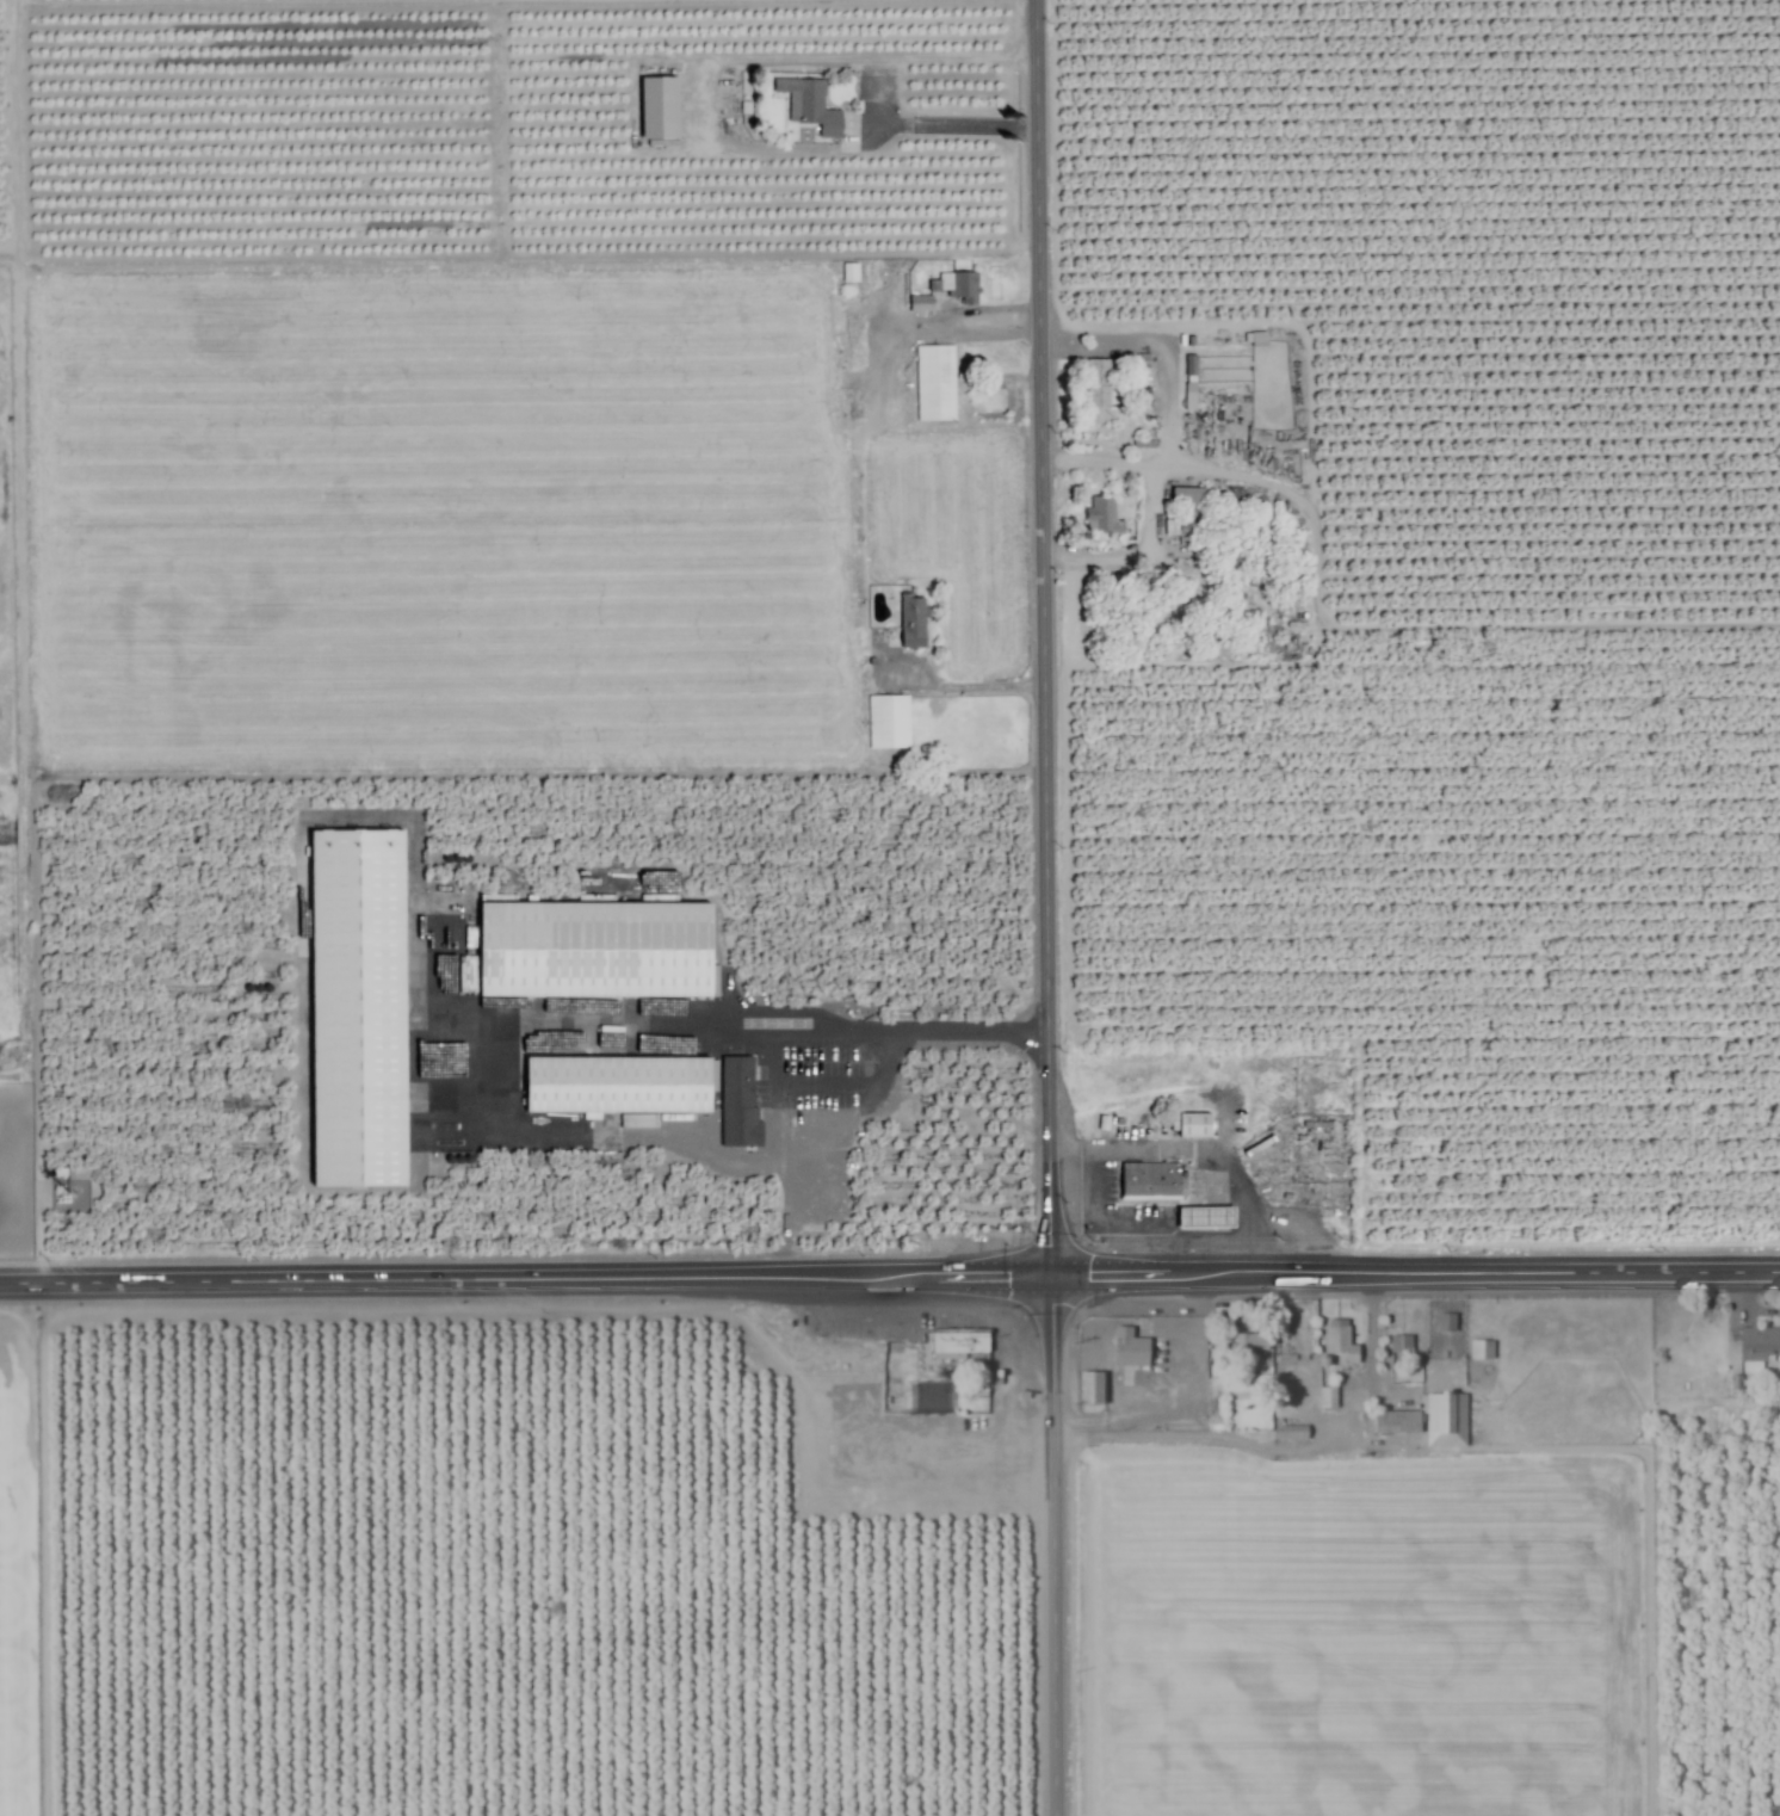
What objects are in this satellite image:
road: (754, 63)
road: (889, 94)
building: (809, 107)
road: (962, 128)
building: (957, 286)
building: (921, 305)
road: (942, 322)
building: (937, 383)
building: (1099, 383)
building: (1191, 394)
road: (1172, 402)
building: (1102, 517)
building: (1189, 517)
road: (1137, 552)
building: (909, 626)
road: (1419, 630)
road: (1042, 636)
road: (968, 686)
building: (890, 723)
building: (594, 952)
building: (361, 1012)
road: (761, 1036)
road: (824, 1086)
building: (649, 1092)
building: (1193, 1126)
road: (1205, 1151)
building: (1149, 1181)
road: (1095, 1219)
building: (1205, 1219)
road: (1217, 1242)
traffic signals: (1049, 1273)
road: (889, 1274)
building: (1445, 1322)
building: (1336, 1339)
building: (1250, 1344)
building: (1759, 1344)
building: (1127, 1348)
building: (1481, 1349)
building: (945, 1373)
building: (1089, 1388)
building: (1281, 1390)
building: (1327, 1397)
building: (1444, 1420)
road: (1195, 1432)
road: (1053, 1544)

